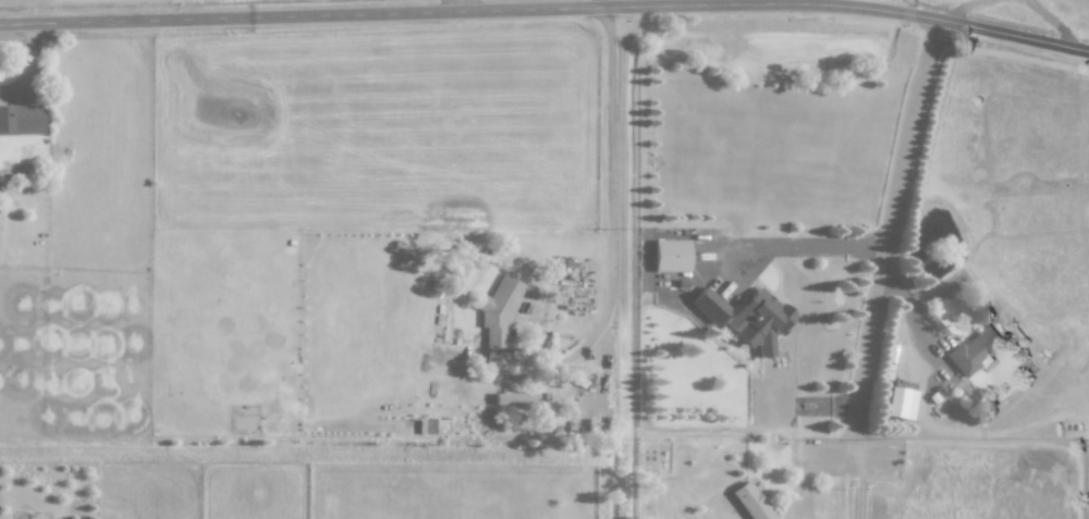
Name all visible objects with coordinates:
road: (643, 3)
road: (458, 5)
road: (963, 8)
road: (547, 10)
road: (1053, 21)
building: (20, 119)
road: (613, 180)
road: (802, 246)
building: (670, 255)
building: (462, 260)
road: (878, 276)
building: (708, 305)
building: (498, 317)
building: (759, 321)
building: (974, 350)
building: (514, 398)
road: (862, 486)
building: (750, 501)

